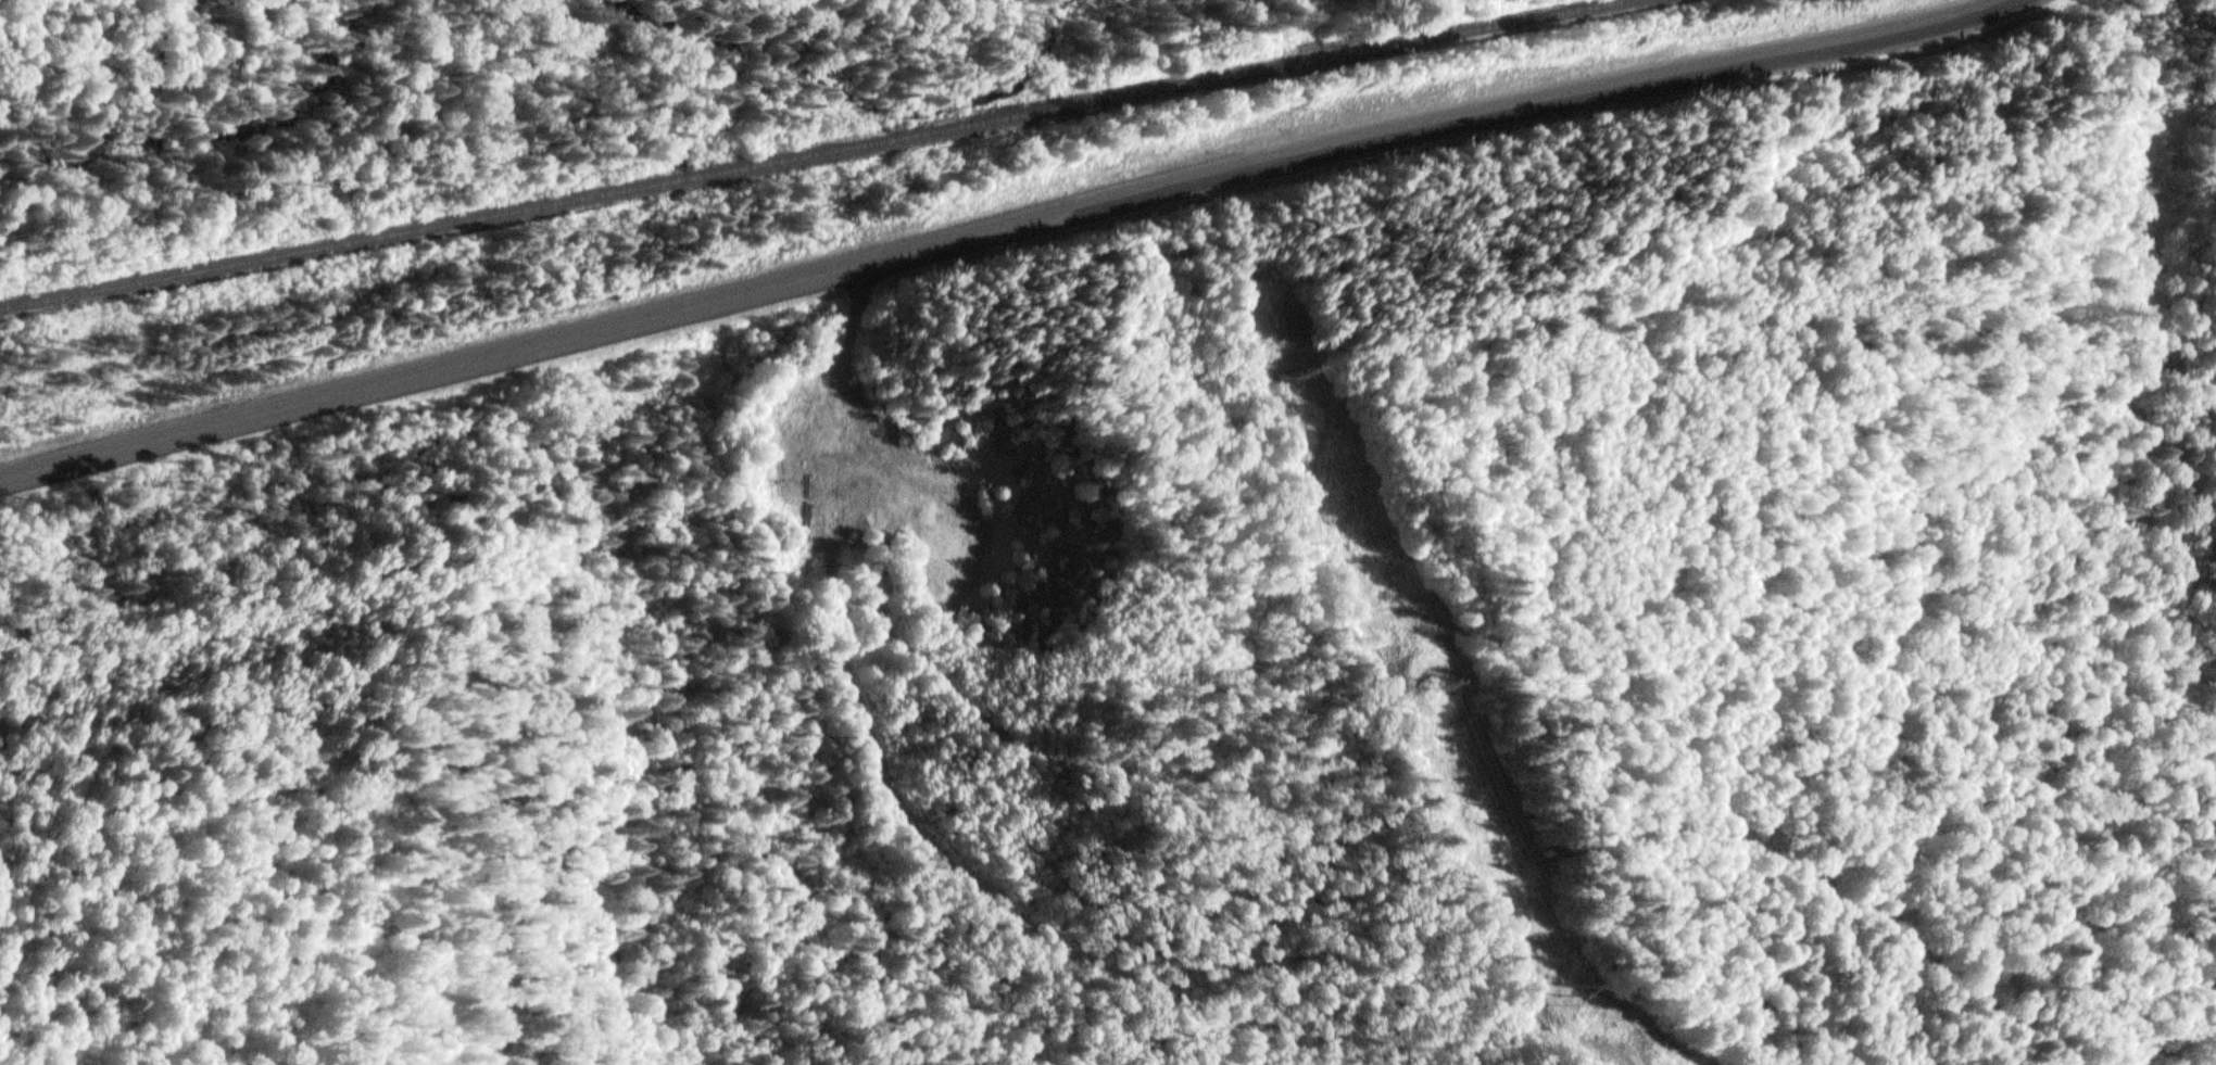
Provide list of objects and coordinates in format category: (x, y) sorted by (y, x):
river: (647, 31)
river: (955, 107)
river: (243, 152)
railway: (822, 156)
park: (1954, 191)
road: (1003, 230)
power tower: (1289, 372)
power tower: (1430, 689)
power tower: (1559, 997)

